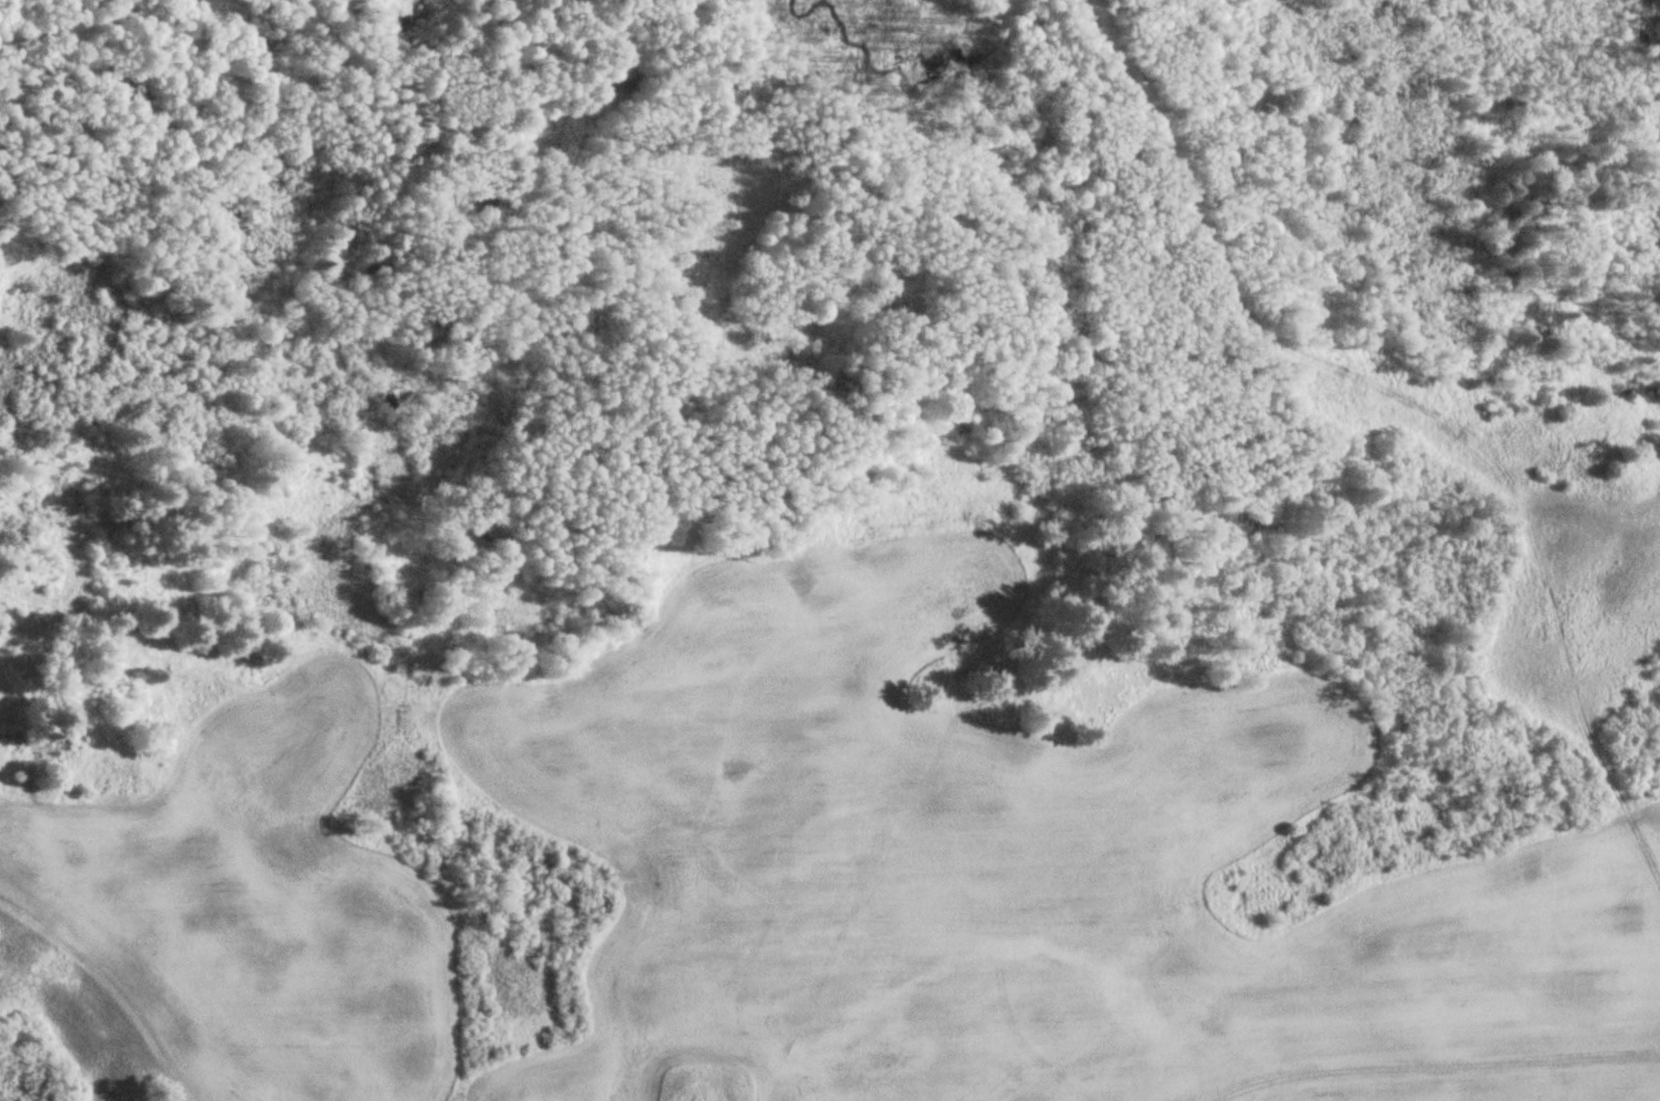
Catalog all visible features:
road: (112, 985)
road: (1425, 1056)

